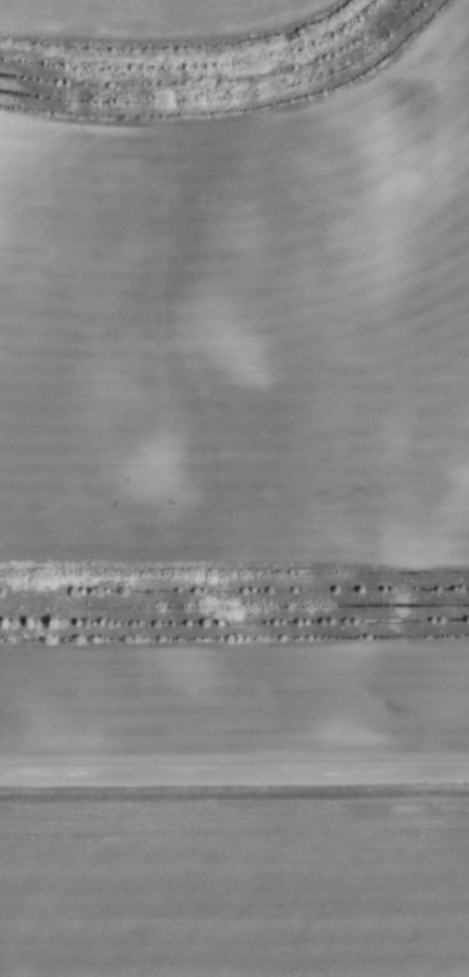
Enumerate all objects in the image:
road: (234, 773)

